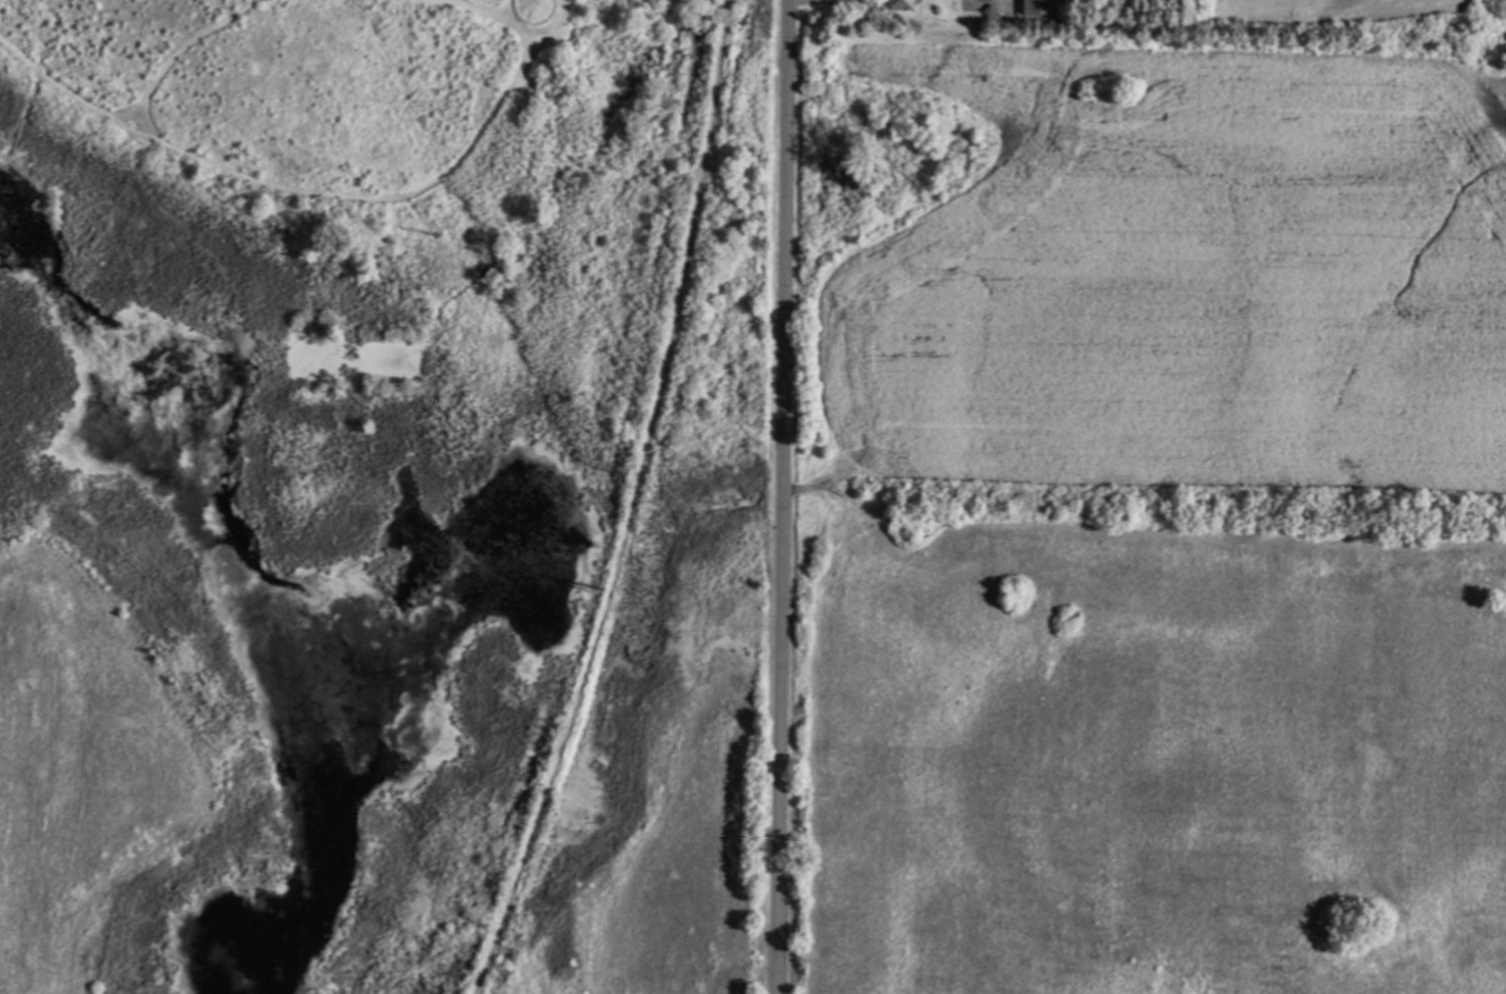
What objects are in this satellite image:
building: (904, 4)
building: (1041, 6)
building: (994, 12)
road: (787, 497)
crop: (1150, 509)
crop: (79, 767)

